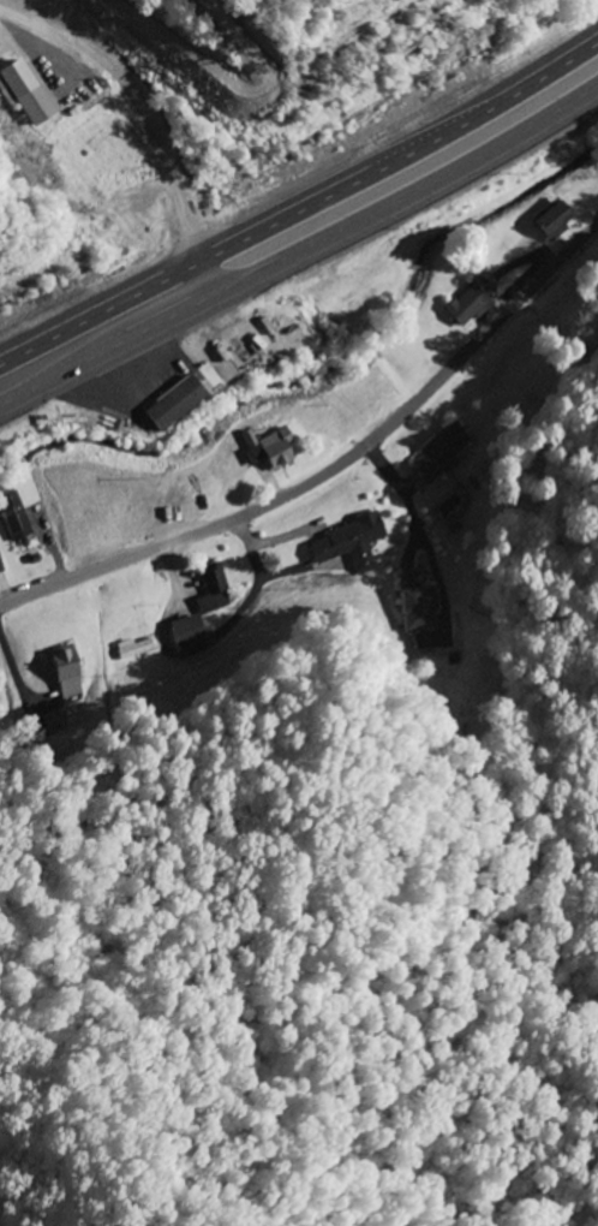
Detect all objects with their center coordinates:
road: (301, 207)
building: (555, 219)
road: (303, 262)
building: (473, 303)
building: (178, 404)
building: (274, 450)
building: (444, 453)
road: (331, 459)
building: (14, 518)
building: (97, 528)
building: (352, 542)
building: (2, 569)
building: (421, 608)
building: (203, 617)
building: (136, 648)
building: (70, 672)
road: (96, 910)

